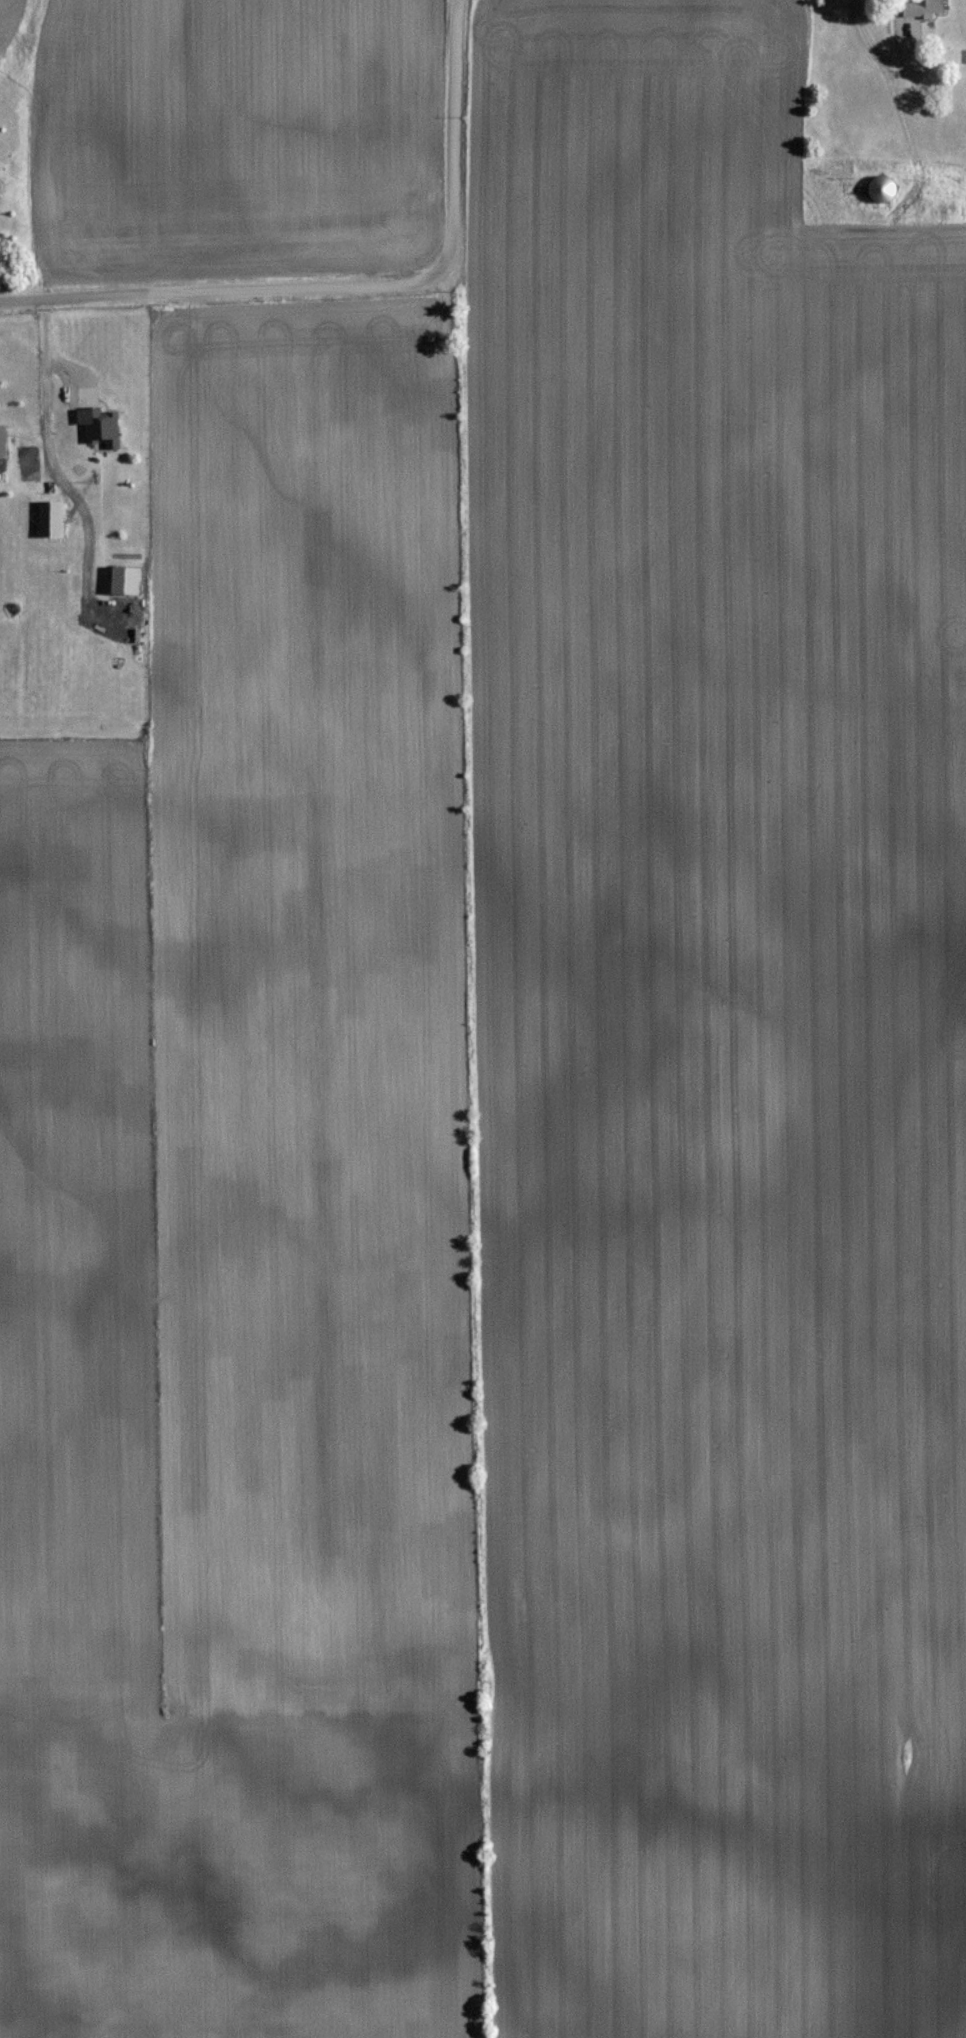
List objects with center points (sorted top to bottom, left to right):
building: (919, 7)
road: (868, 48)
building: (876, 187)
road: (356, 279)
building: (1, 441)
road: (56, 468)
building: (46, 518)

